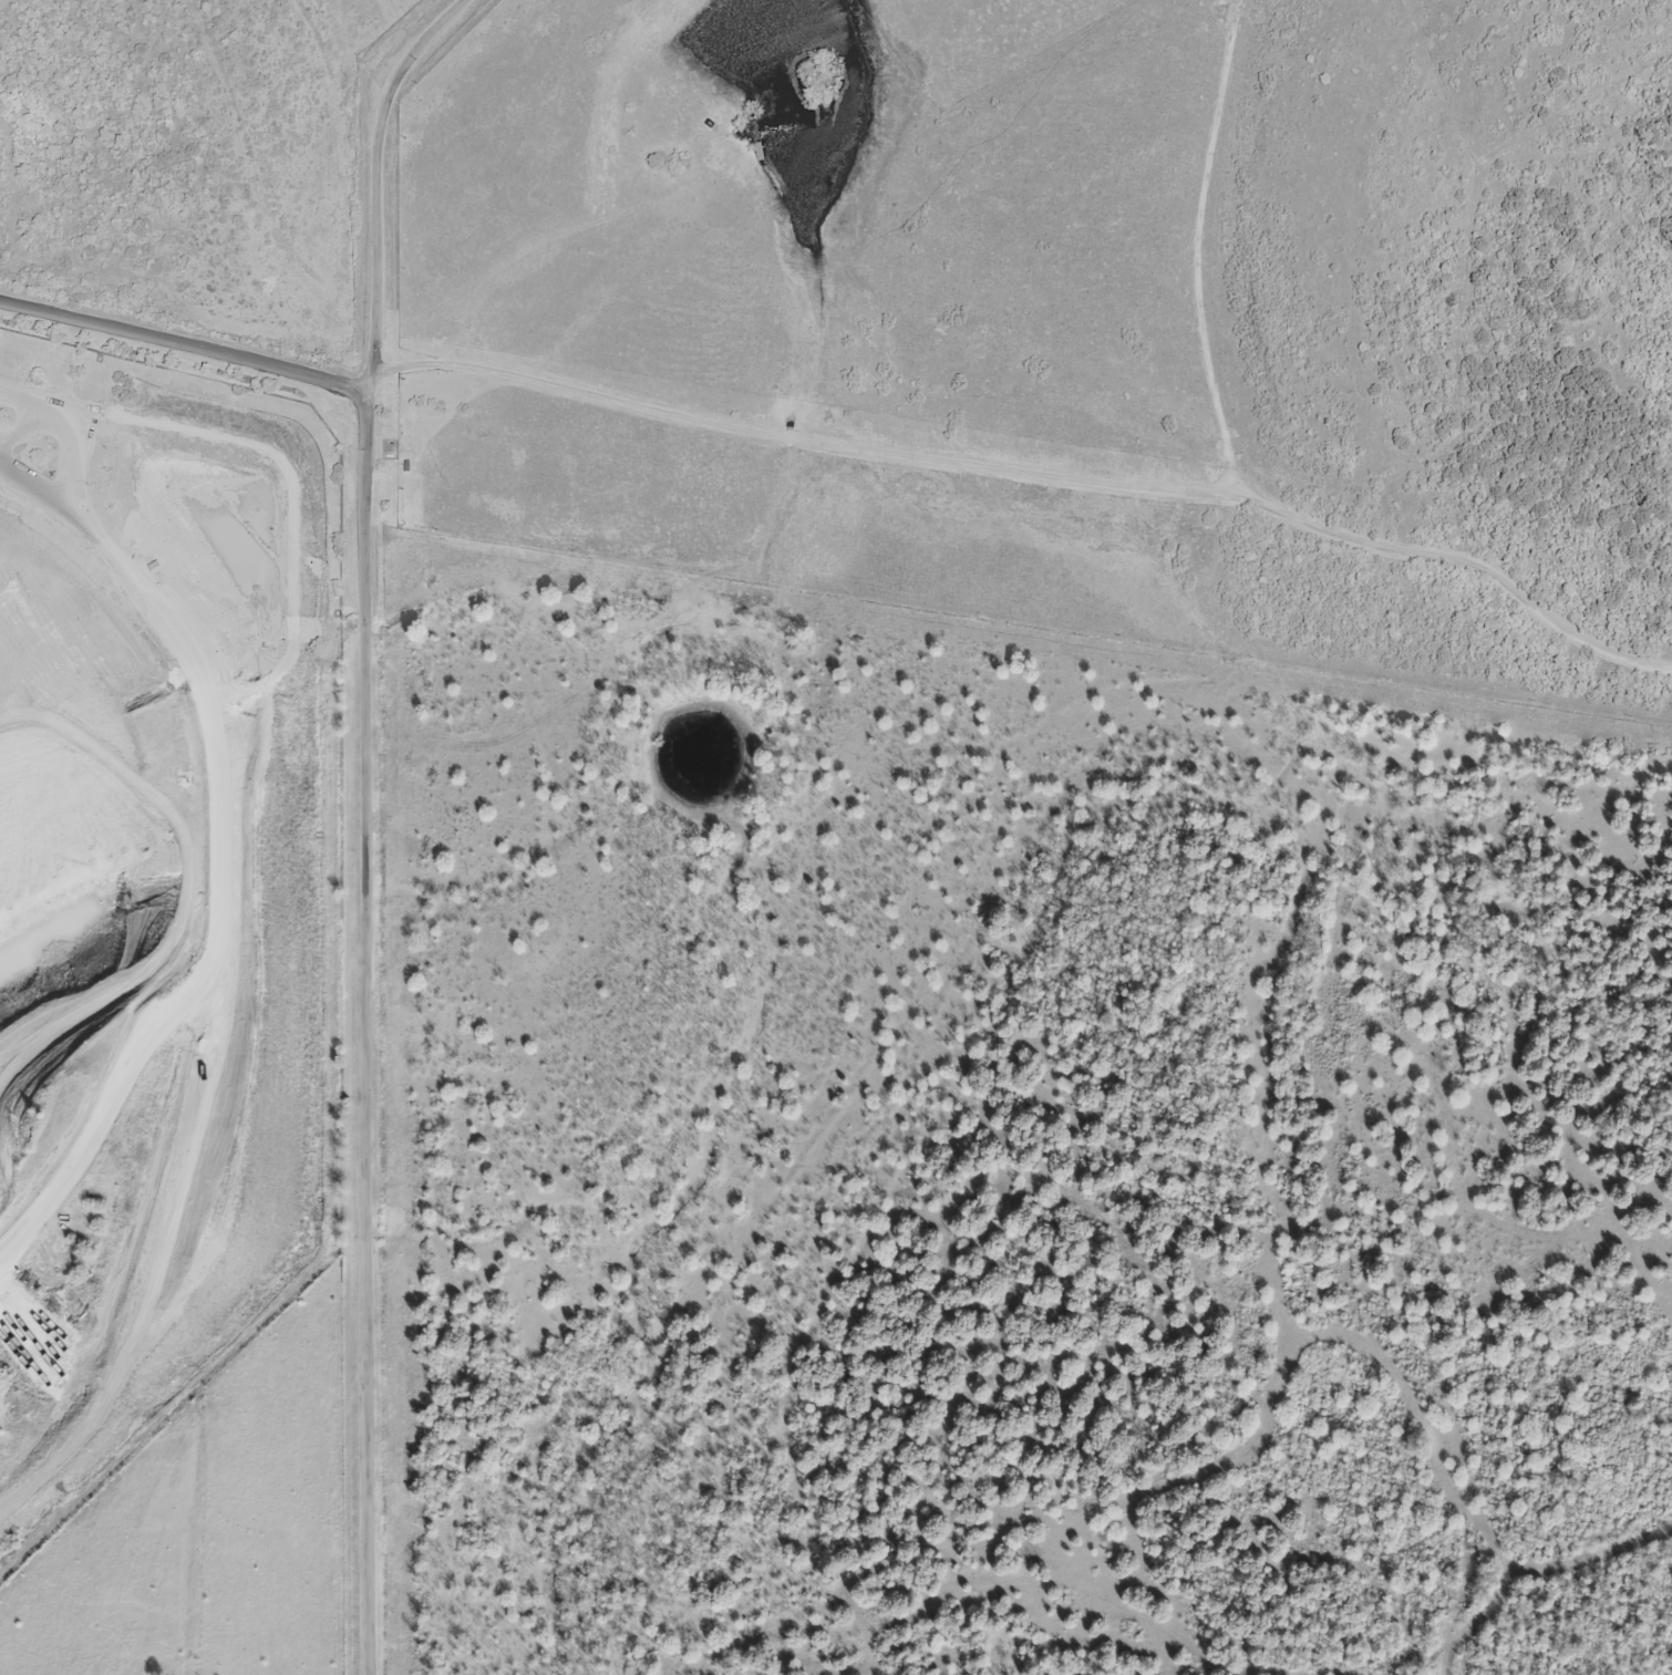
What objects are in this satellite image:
road: (183, 347)
road: (62, 436)
road: (1033, 473)
road: (365, 824)
road: (218, 856)
landfill: (156, 897)
road: (154, 1242)
road: (63, 1449)

